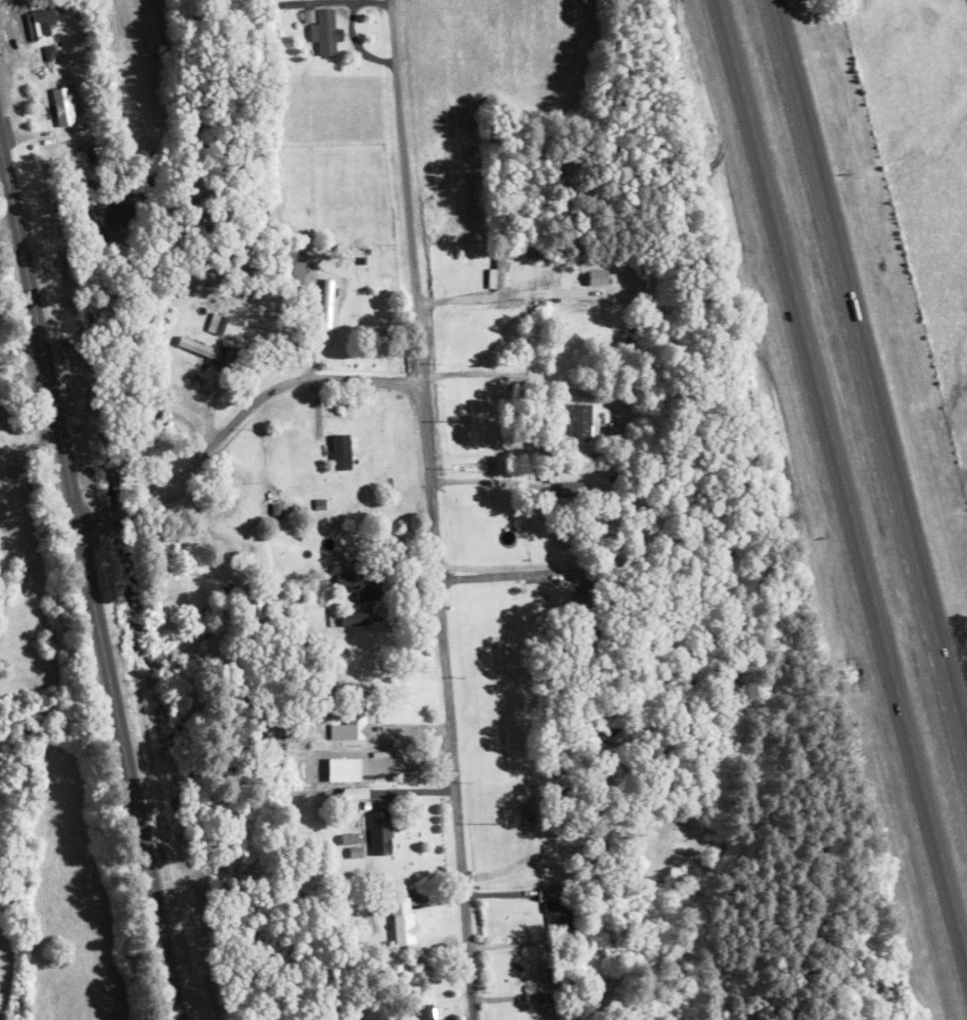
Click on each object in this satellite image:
building: (41, 21)
building: (323, 28)
building: (50, 51)
building: (66, 104)
road: (404, 193)
building: (498, 270)
building: (298, 271)
building: (327, 301)
building: (631, 323)
building: (195, 345)
building: (230, 356)
road: (866, 391)
road: (601, 396)
power tower: (471, 419)
building: (581, 421)
building: (342, 451)
road: (841, 482)
road: (430, 507)
building: (569, 508)
building: (362, 582)
road: (89, 584)
building: (257, 608)
building: (355, 618)
building: (582, 621)
building: (357, 715)
building: (356, 792)
power tower: (505, 822)
building: (381, 831)
building: (557, 908)
building: (403, 919)
building: (429, 1011)

